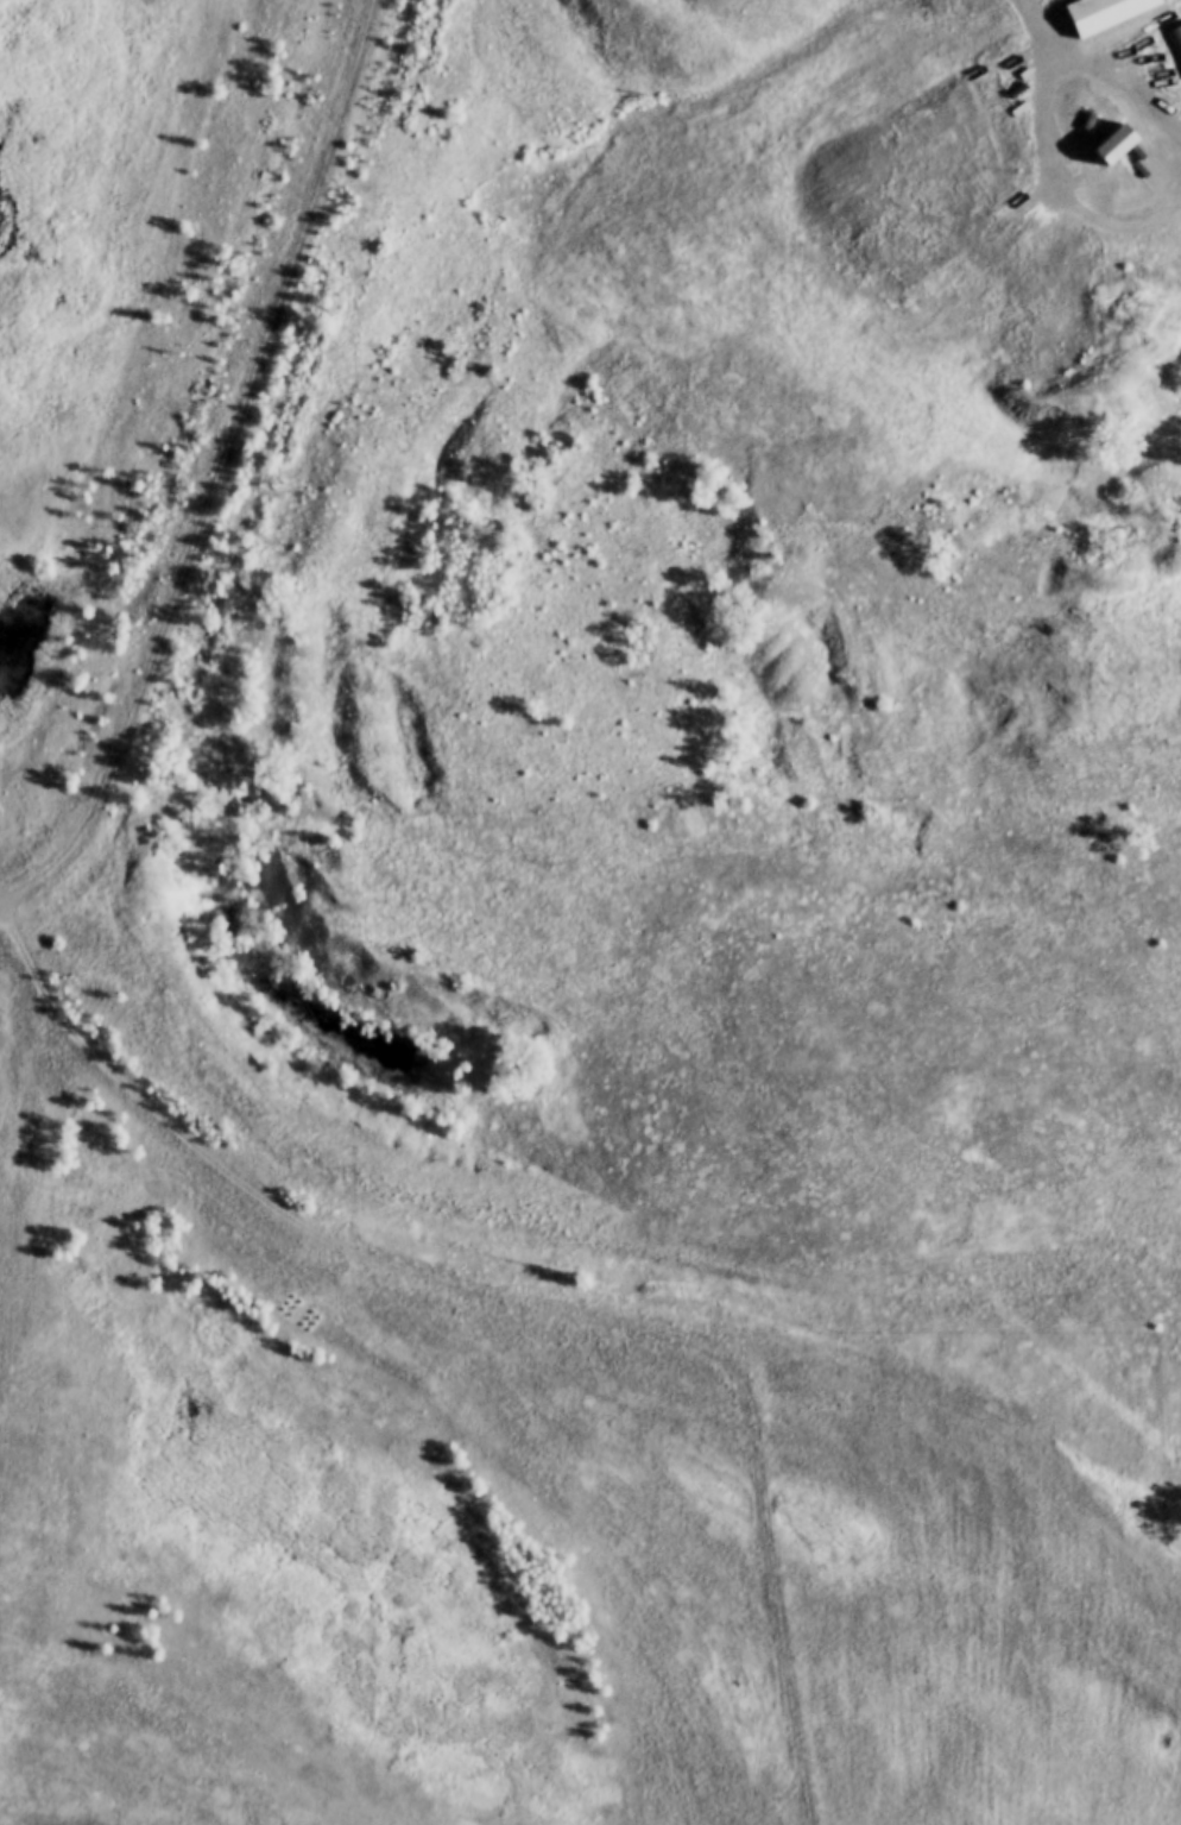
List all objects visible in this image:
building: (1107, 13)
road: (1018, 23)
building: (1175, 42)
building: (1120, 145)
road: (1180, 150)
road: (1154, 216)
road: (216, 464)
road: (523, 1296)

